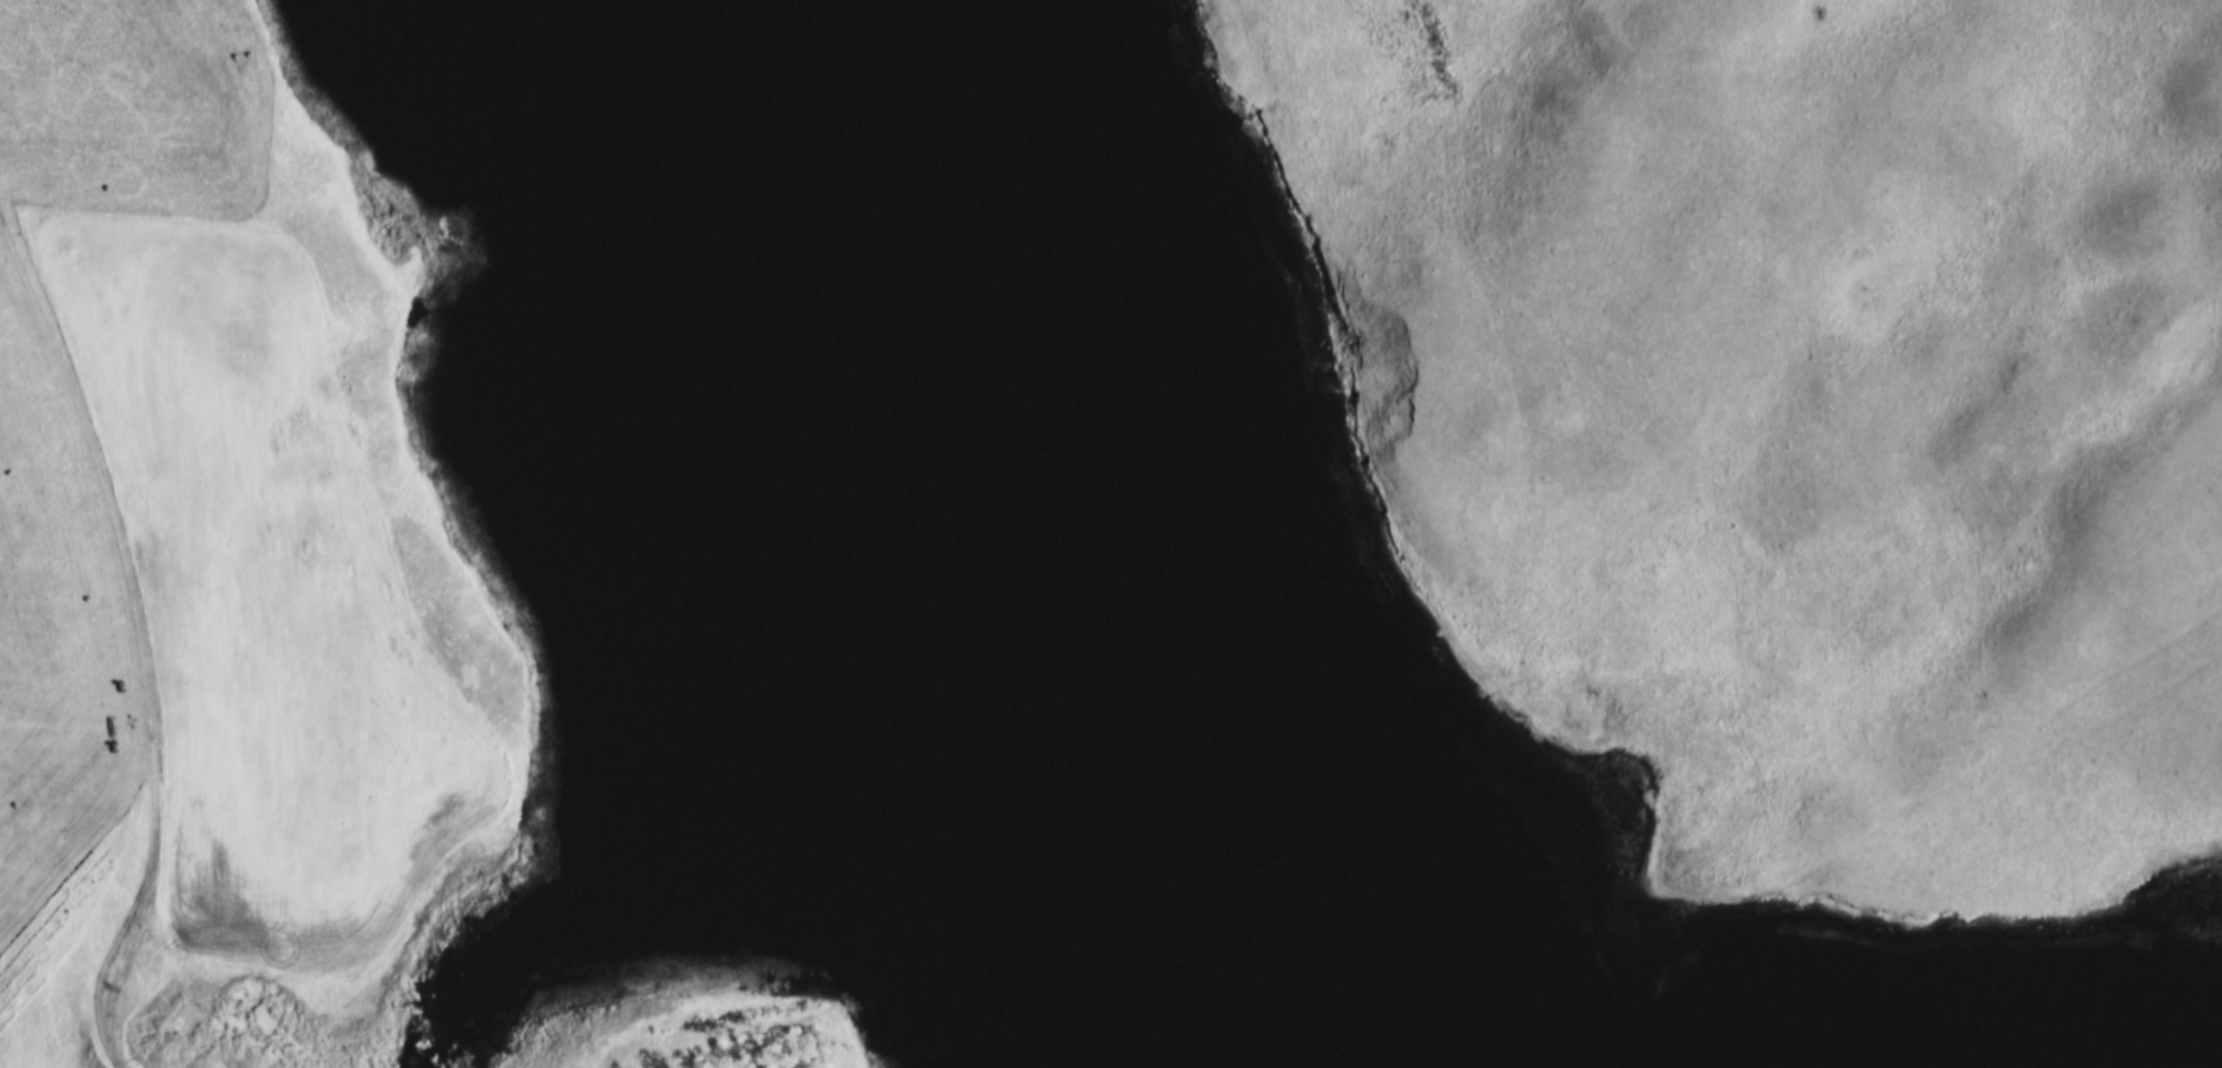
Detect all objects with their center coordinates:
road: (134, 923)

